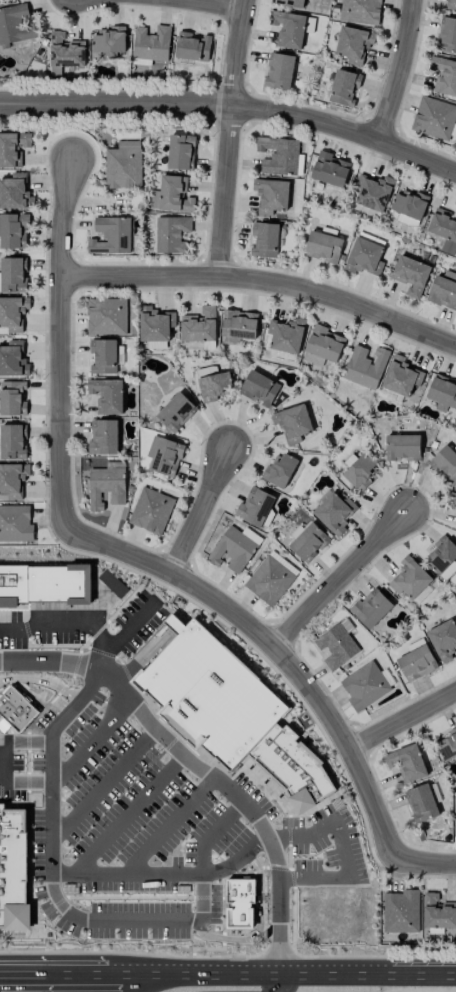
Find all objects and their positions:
building: (451, 2)
road: (214, 4)
building: (360, 11)
building: (15, 25)
building: (289, 30)
building: (447, 35)
building: (108, 42)
building: (151, 43)
building: (353, 44)
building: (192, 47)
building: (279, 71)
road: (401, 72)
building: (444, 76)
building: (344, 87)
road: (233, 108)
building: (434, 118)
road: (230, 138)
building: (13, 148)
building: (181, 152)
building: (278, 155)
building: (123, 165)
building: (329, 169)
building: (15, 192)
building: (372, 194)
building: (270, 195)
building: (409, 204)
building: (407, 220)
building: (444, 229)
building: (13, 230)
building: (171, 234)
building: (111, 236)
building: (265, 239)
building: (323, 247)
building: (364, 257)
building: (13, 275)
building: (410, 275)
road: (264, 282)
building: (443, 290)
building: (13, 313)
building: (107, 317)
building: (155, 324)
building: (239, 324)
building: (199, 325)
building: (286, 335)
road: (63, 344)
building: (323, 346)
building: (103, 356)
building: (13, 359)
building: (365, 367)
building: (401, 376)
building: (213, 386)
building: (259, 387)
building: (442, 391)
building: (107, 395)
building: (12, 398)
building: (176, 412)
building: (292, 423)
building: (103, 437)
building: (13, 442)
building: (403, 447)
building: (164, 455)
building: (446, 463)
building: (279, 470)
building: (360, 471)
building: (12, 479)
building: (106, 486)
building: (454, 498)
building: (255, 507)
building: (151, 511)
building: (334, 511)
road: (203, 512)
building: (15, 524)
building: (251, 535)
building: (309, 543)
building: (233, 550)
building: (441, 554)
building: (271, 578)
building: (410, 578)
road: (342, 580)
building: (45, 584)
building: (112, 584)
building: (371, 608)
road: (58, 624)
building: (443, 639)
building: (337, 644)
road: (277, 649)
building: (417, 663)
road: (89, 668)
building: (364, 686)
building: (15, 711)
building: (229, 711)
road: (403, 719)
road: (87, 743)
building: (448, 745)
building: (407, 763)
road: (102, 785)
road: (234, 798)
building: (421, 803)
road: (126, 816)
building: (454, 816)
parking lot: (148, 819)
road: (168, 828)
road: (211, 835)
road: (341, 851)
road: (429, 861)
building: (13, 870)
road: (58, 876)
parking lot: (128, 887)
road: (129, 898)
road: (201, 898)
building: (240, 903)
road: (54, 906)
road: (202, 906)
building: (401, 911)
building: (438, 912)
parking lot: (138, 920)
road: (104, 921)
road: (53, 976)
road: (119, 977)
road: (294, 978)
road: (289, 985)

